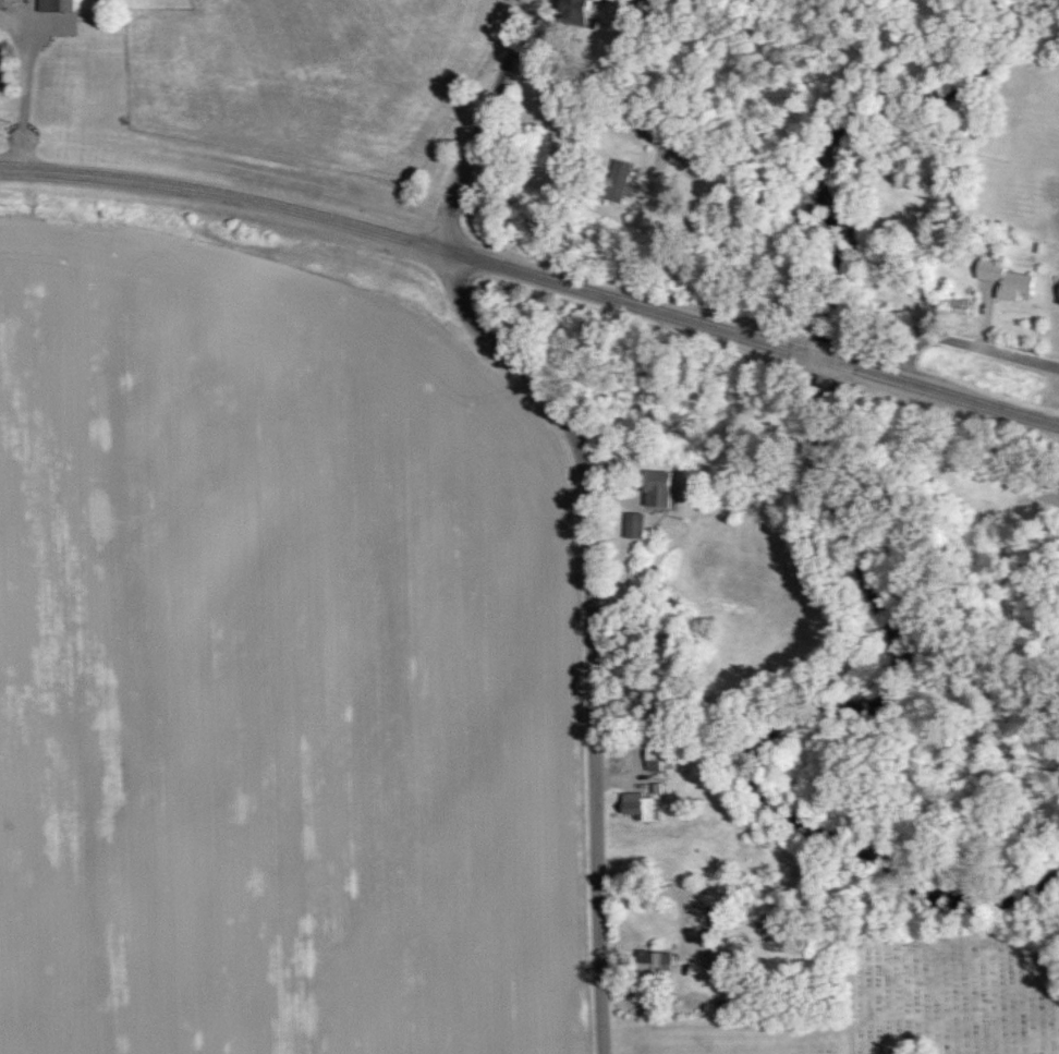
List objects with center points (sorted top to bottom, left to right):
building: (53, 4)
building: (571, 11)
building: (614, 179)
road: (228, 192)
building: (1040, 247)
building: (1005, 280)
road: (625, 299)
building: (1058, 299)
building: (948, 302)
road: (986, 320)
road: (965, 343)
road: (821, 355)
road: (950, 396)
building: (655, 488)
road: (588, 497)
building: (632, 524)
building: (653, 759)
building: (637, 805)
road: (682, 892)
building: (652, 960)
park: (900, 993)
road: (852, 1005)

